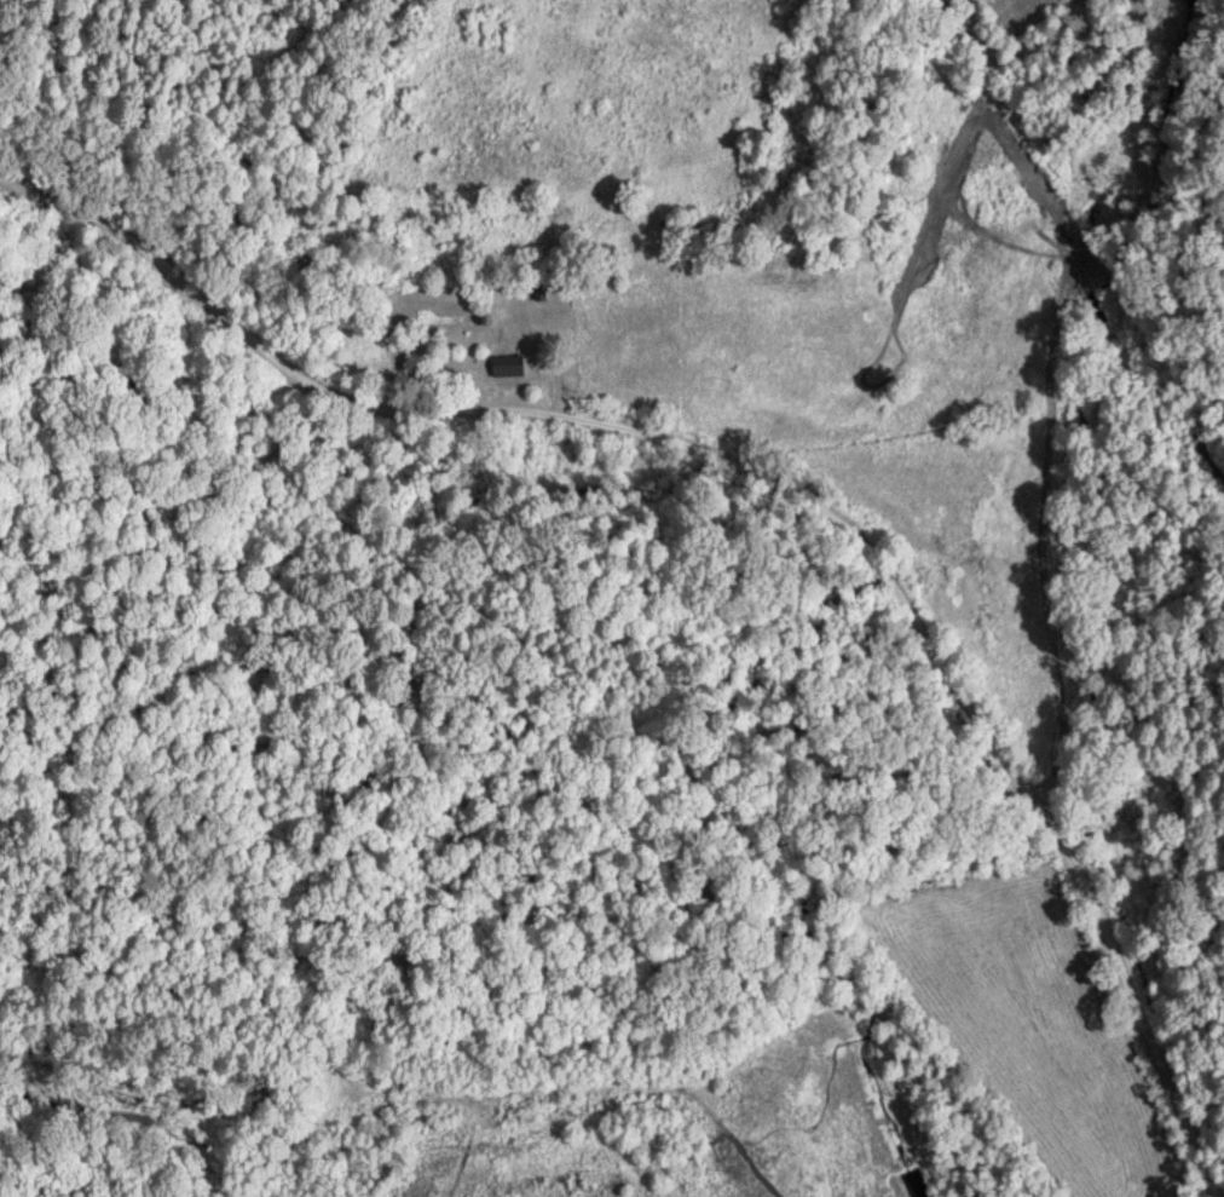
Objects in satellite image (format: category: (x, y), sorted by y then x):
building: (514, 362)
road: (775, 479)

